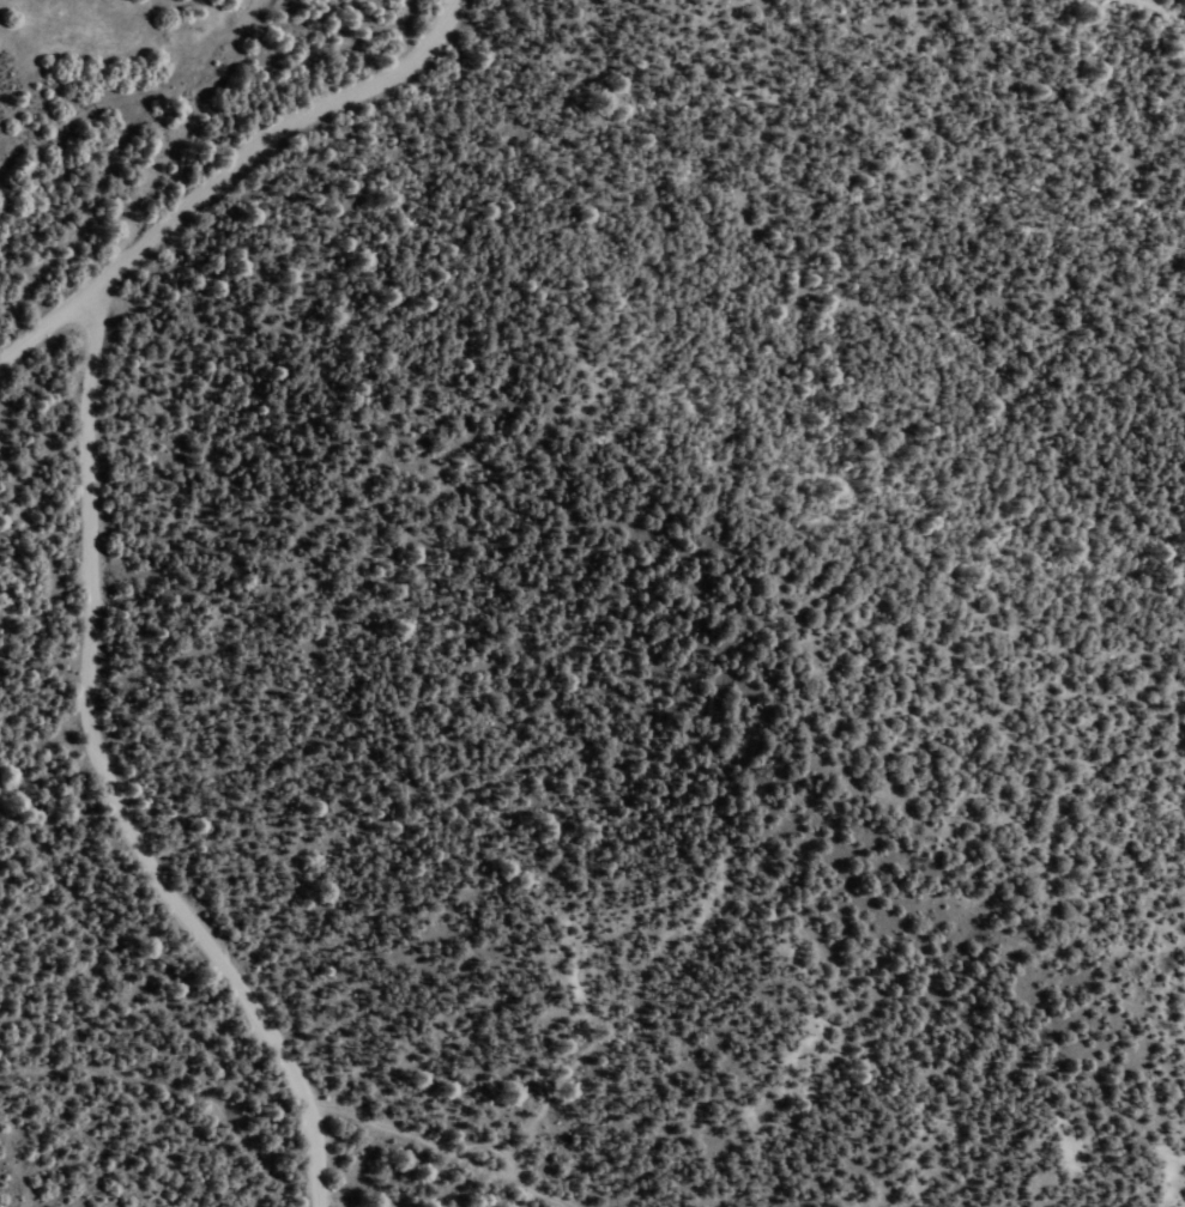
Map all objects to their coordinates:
road: (1168, 5)
road: (234, 181)
road: (110, 778)
road: (427, 1144)

